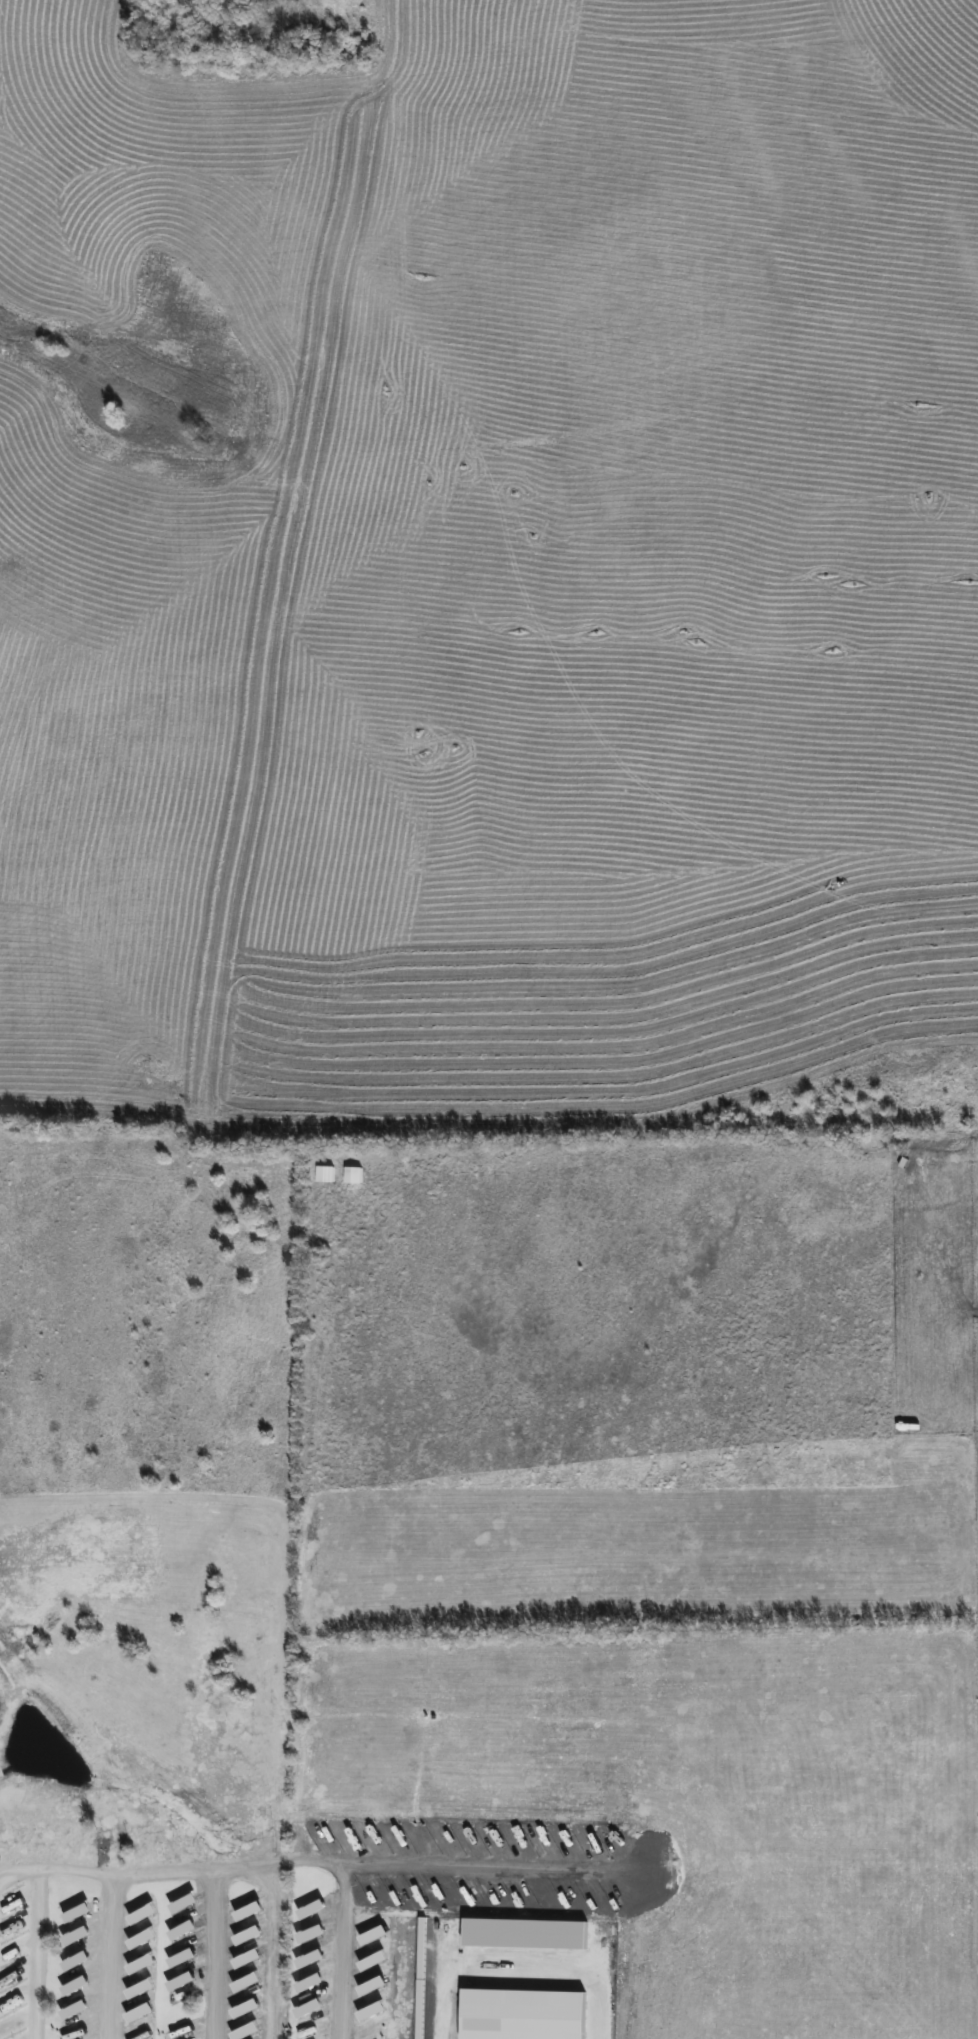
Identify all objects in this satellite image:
road: (273, 1856)
road: (35, 1937)
building: (71, 2015)

